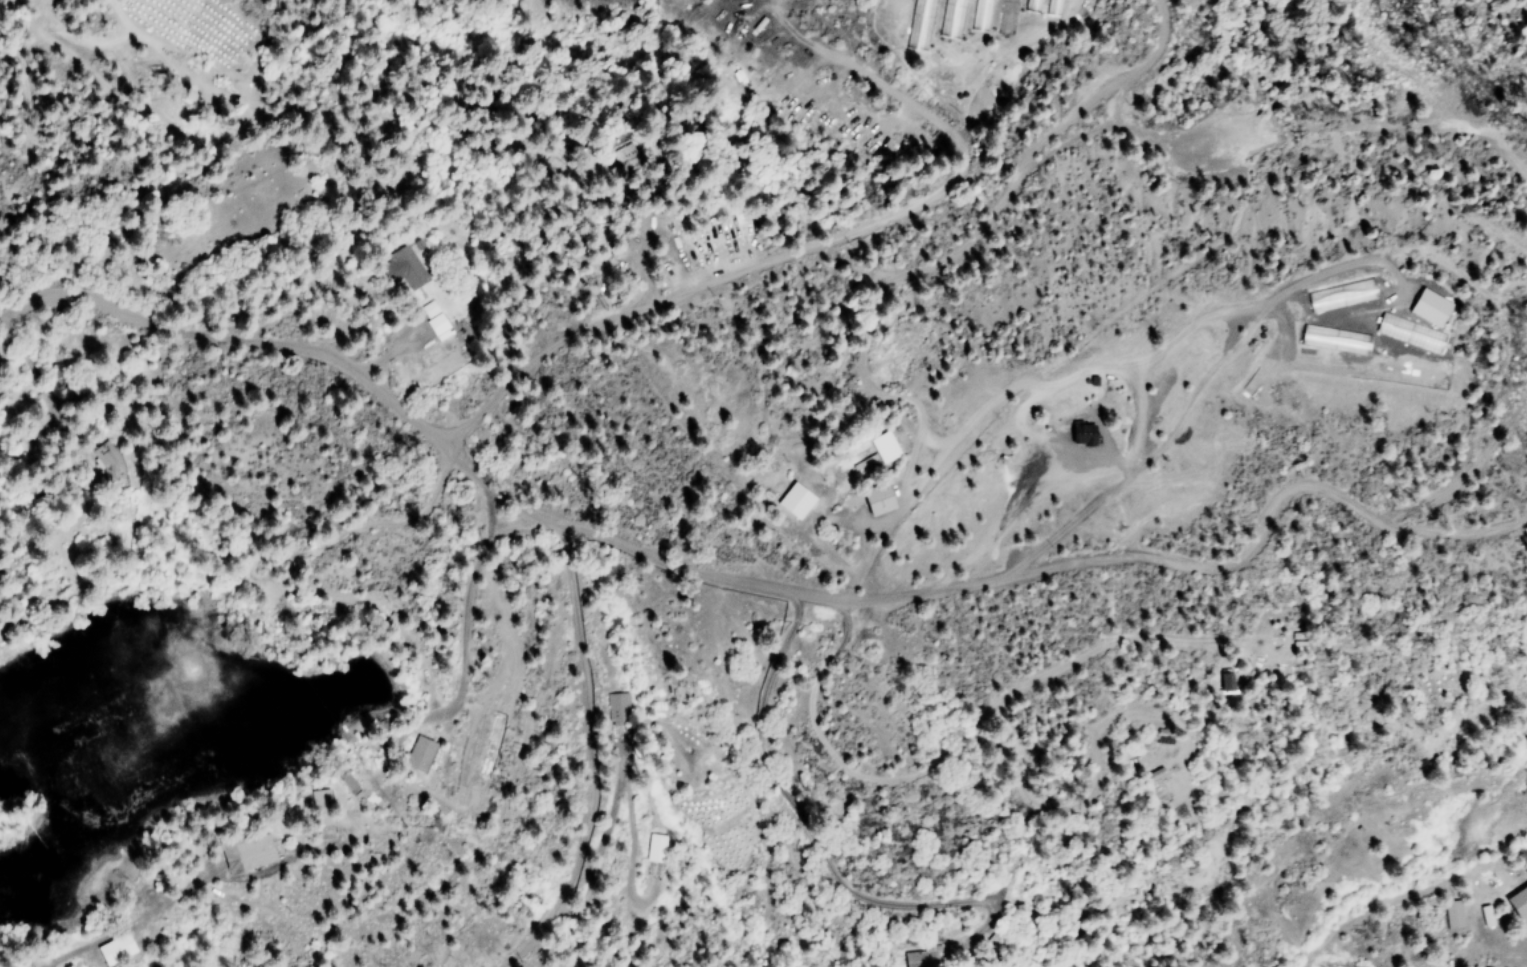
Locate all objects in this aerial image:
building: (980, 15)
building: (1007, 17)
building: (950, 19)
building: (919, 25)
building: (401, 268)
building: (1339, 295)
building: (1426, 307)
building: (431, 317)
building: (1408, 332)
building: (1333, 339)
building: (1078, 434)
building: (882, 447)
building: (105, 461)
building: (873, 501)
road: (753, 584)
building: (1223, 681)
road: (762, 703)
building: (616, 706)
building: (416, 754)
road: (570, 757)
building: (346, 781)
building: (320, 807)
building: (655, 848)
building: (245, 852)
building: (1516, 900)
building: (1451, 914)
building: (112, 948)
building: (923, 957)

